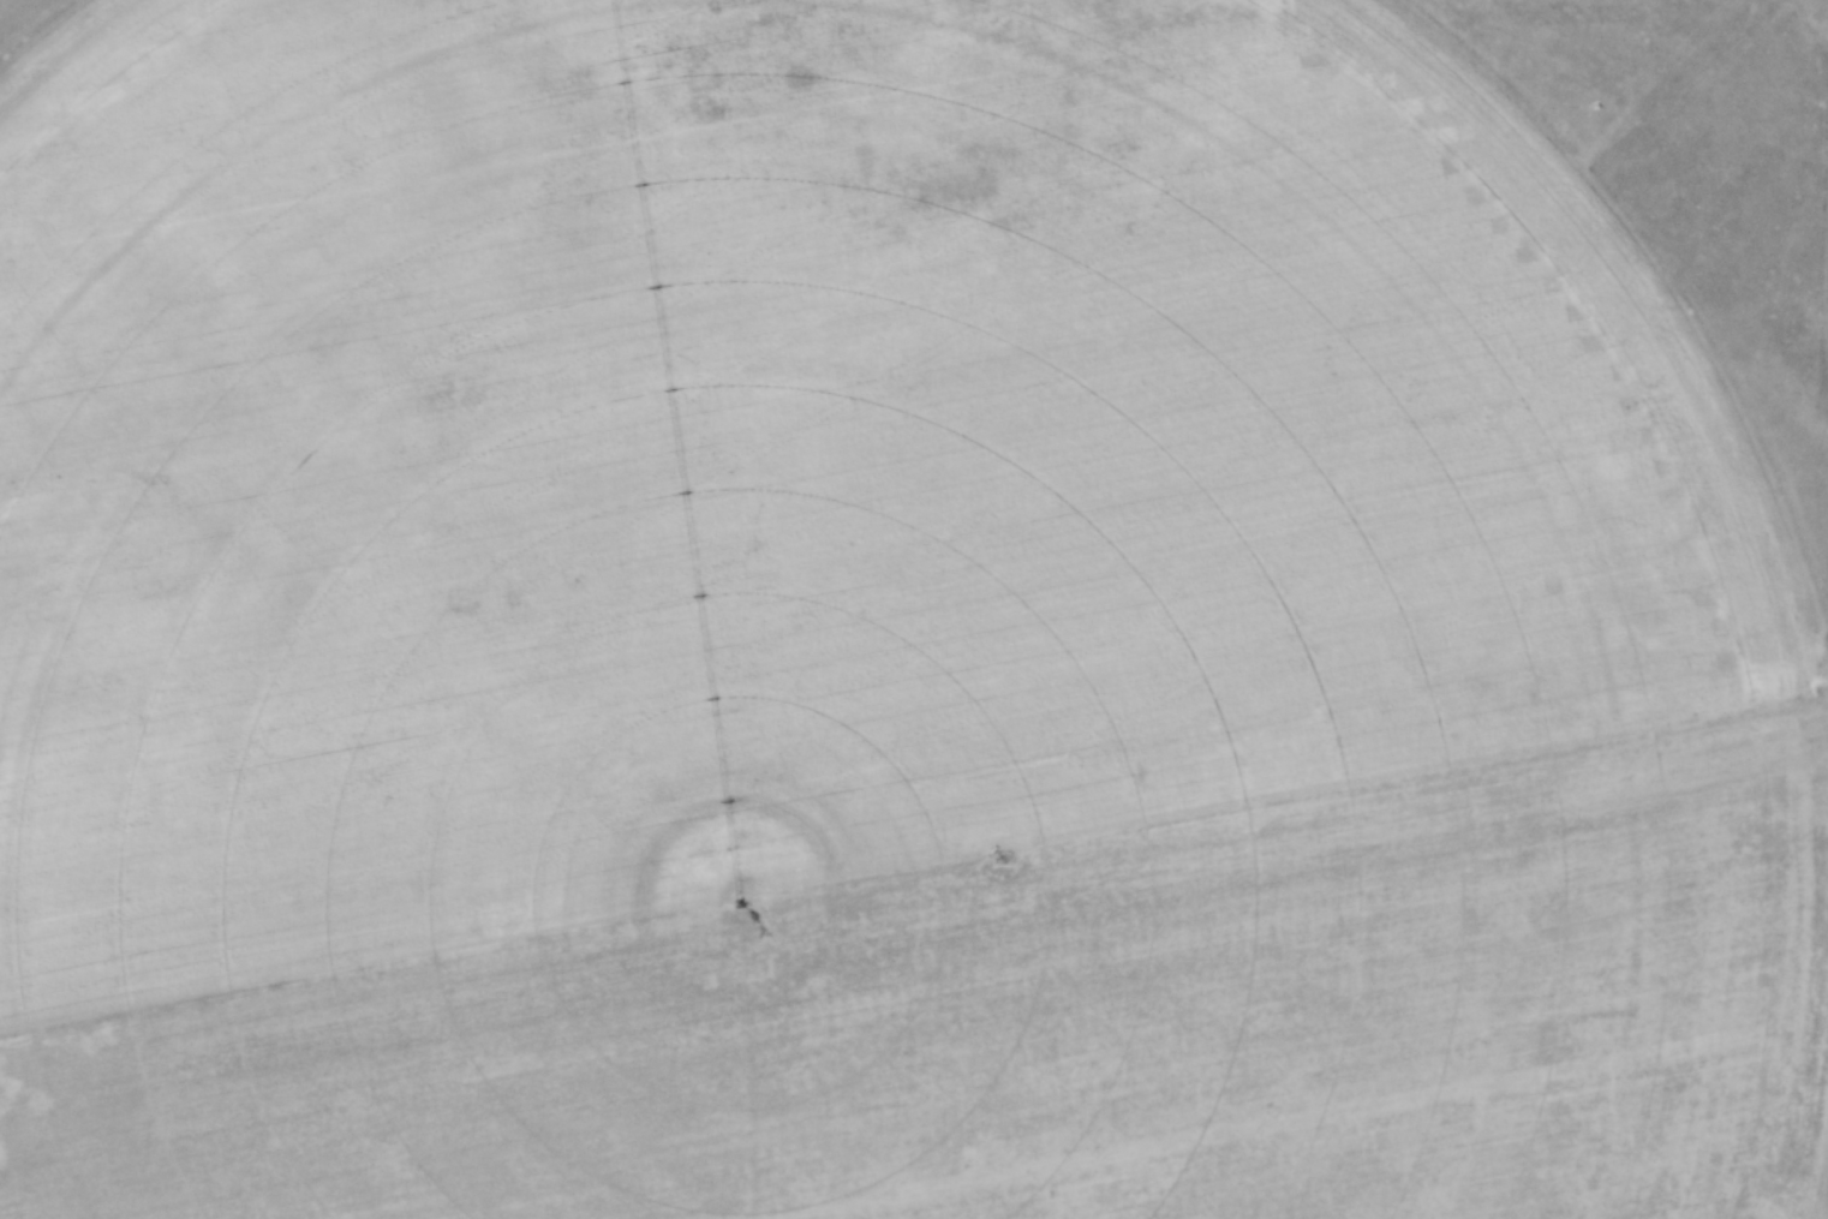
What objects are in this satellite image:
crop: (860, 635)

